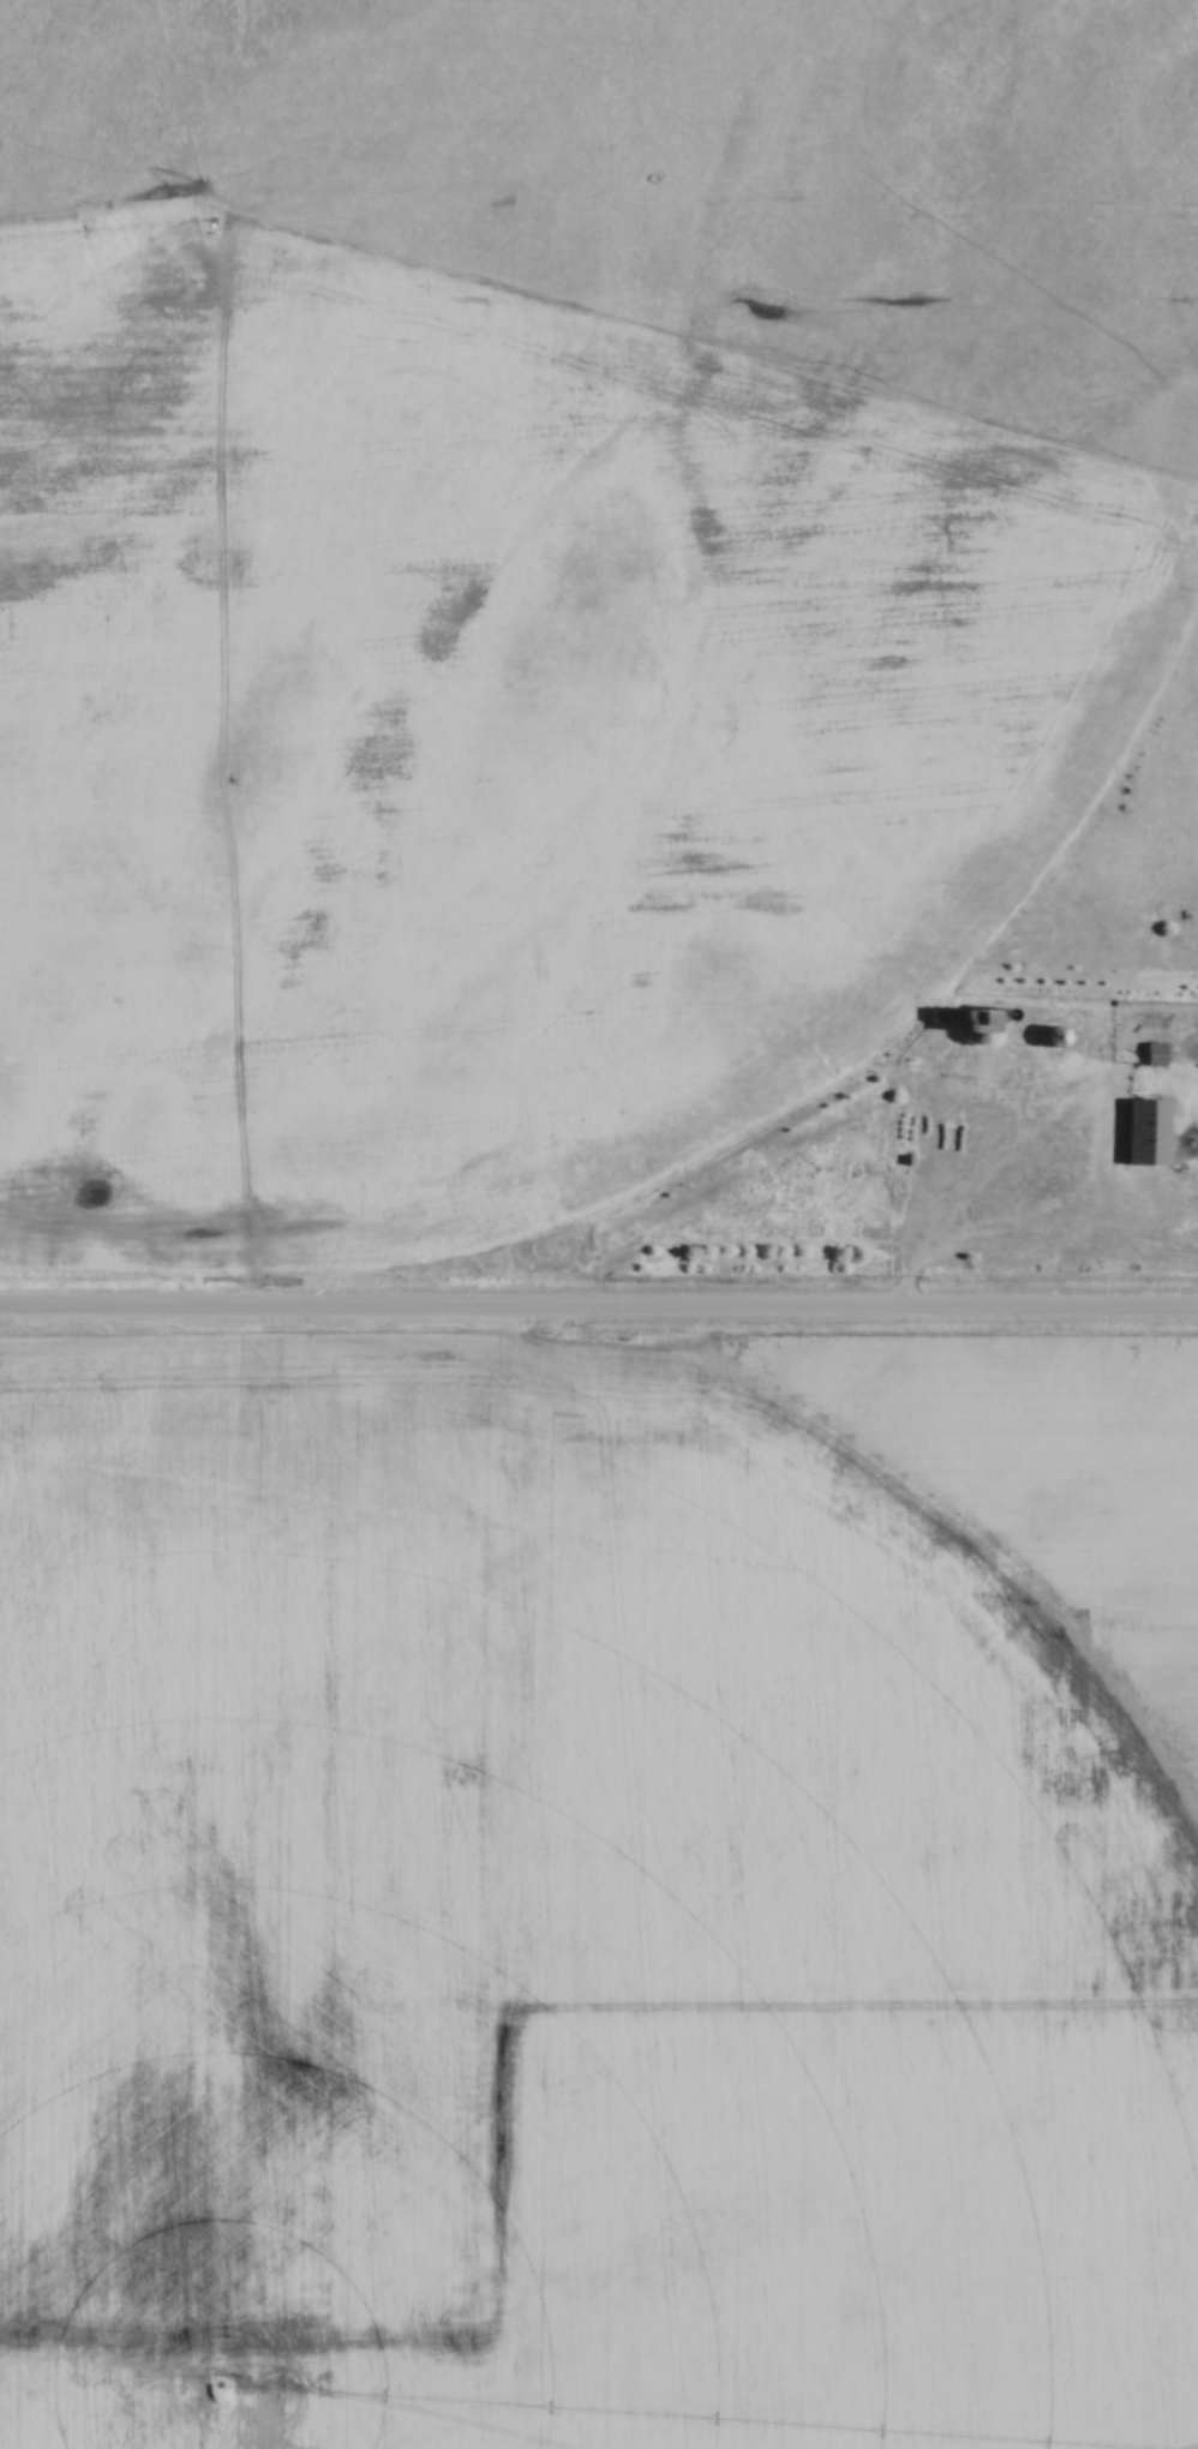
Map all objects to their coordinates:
building: (954, 1014)
building: (1047, 1037)
road: (914, 1118)
building: (1142, 1131)
road: (598, 1305)

